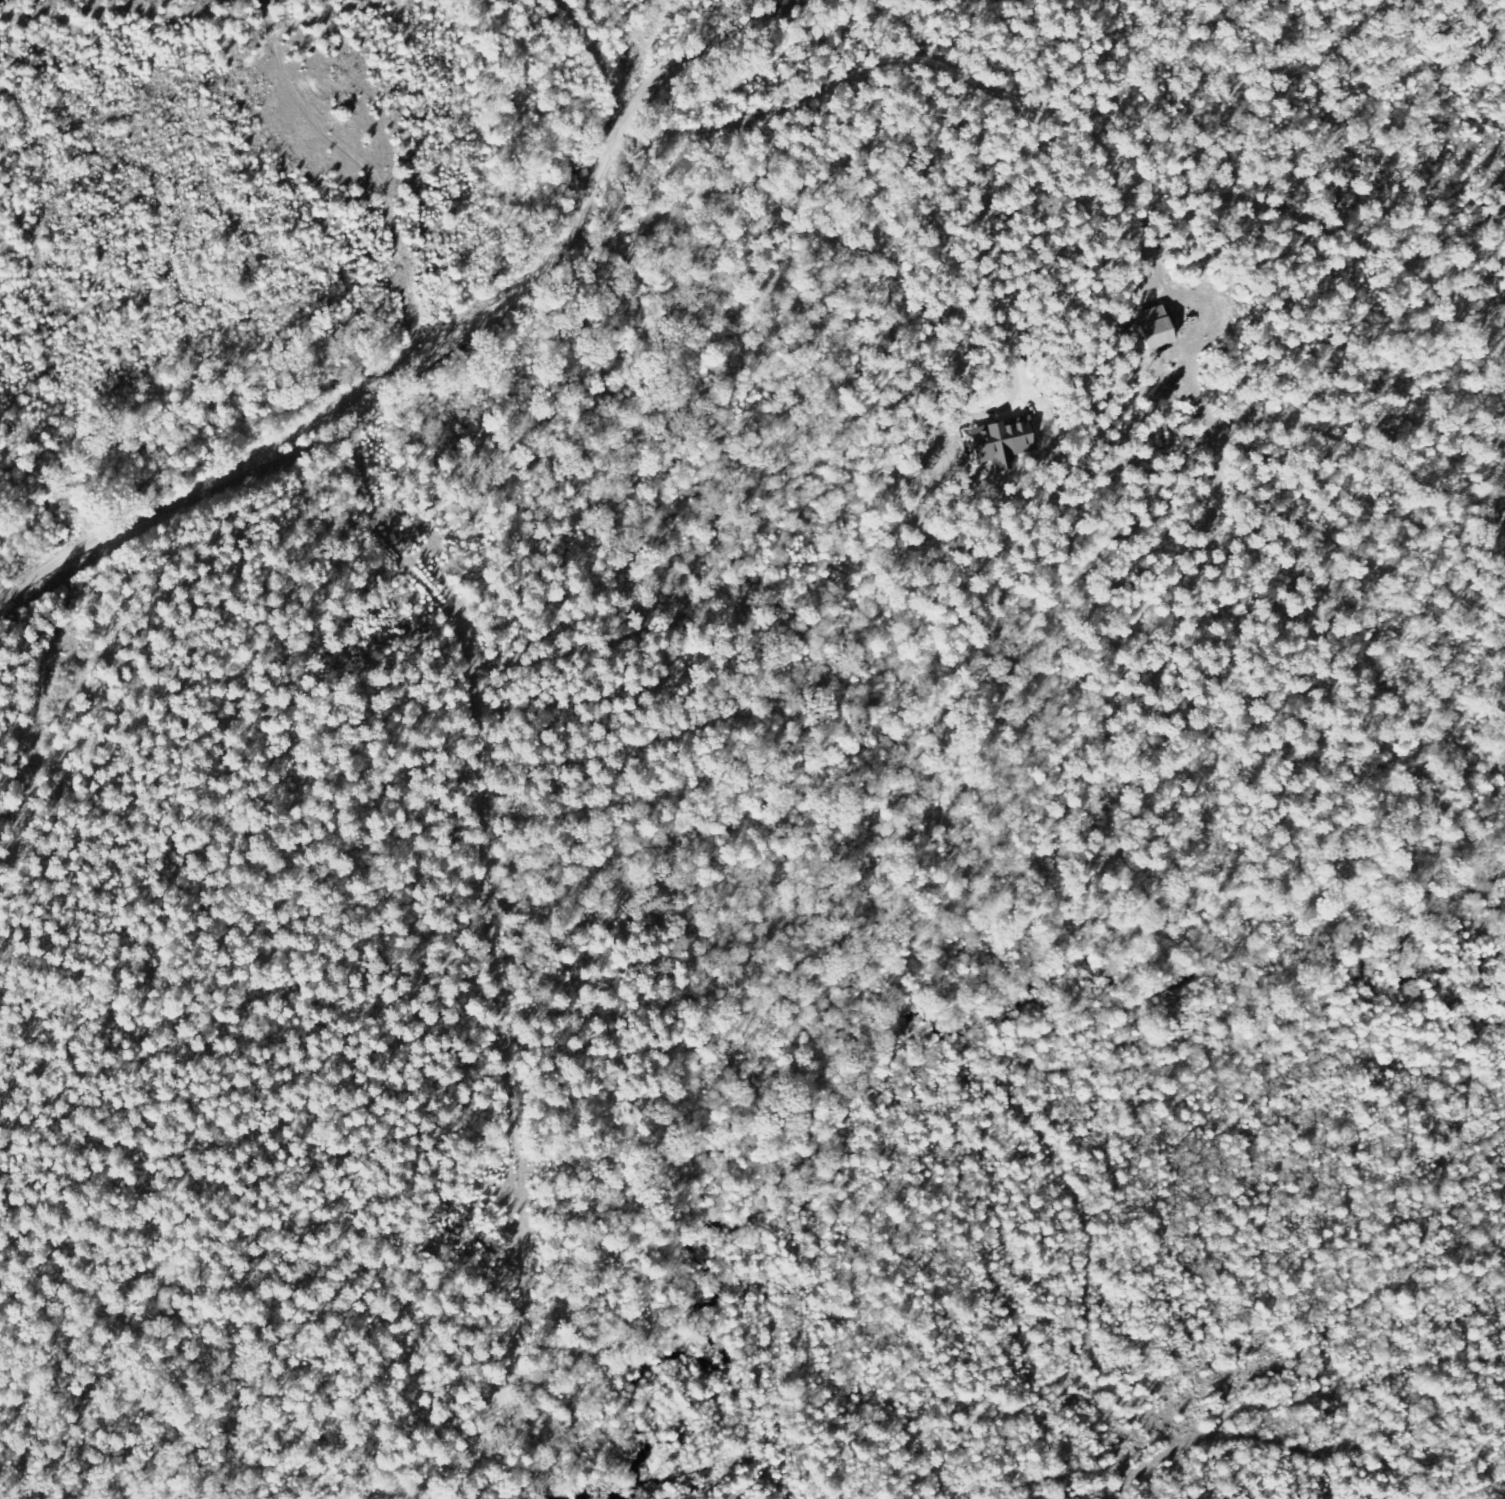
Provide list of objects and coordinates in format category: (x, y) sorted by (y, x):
building: (1160, 327)
road: (462, 331)
building: (1007, 442)

